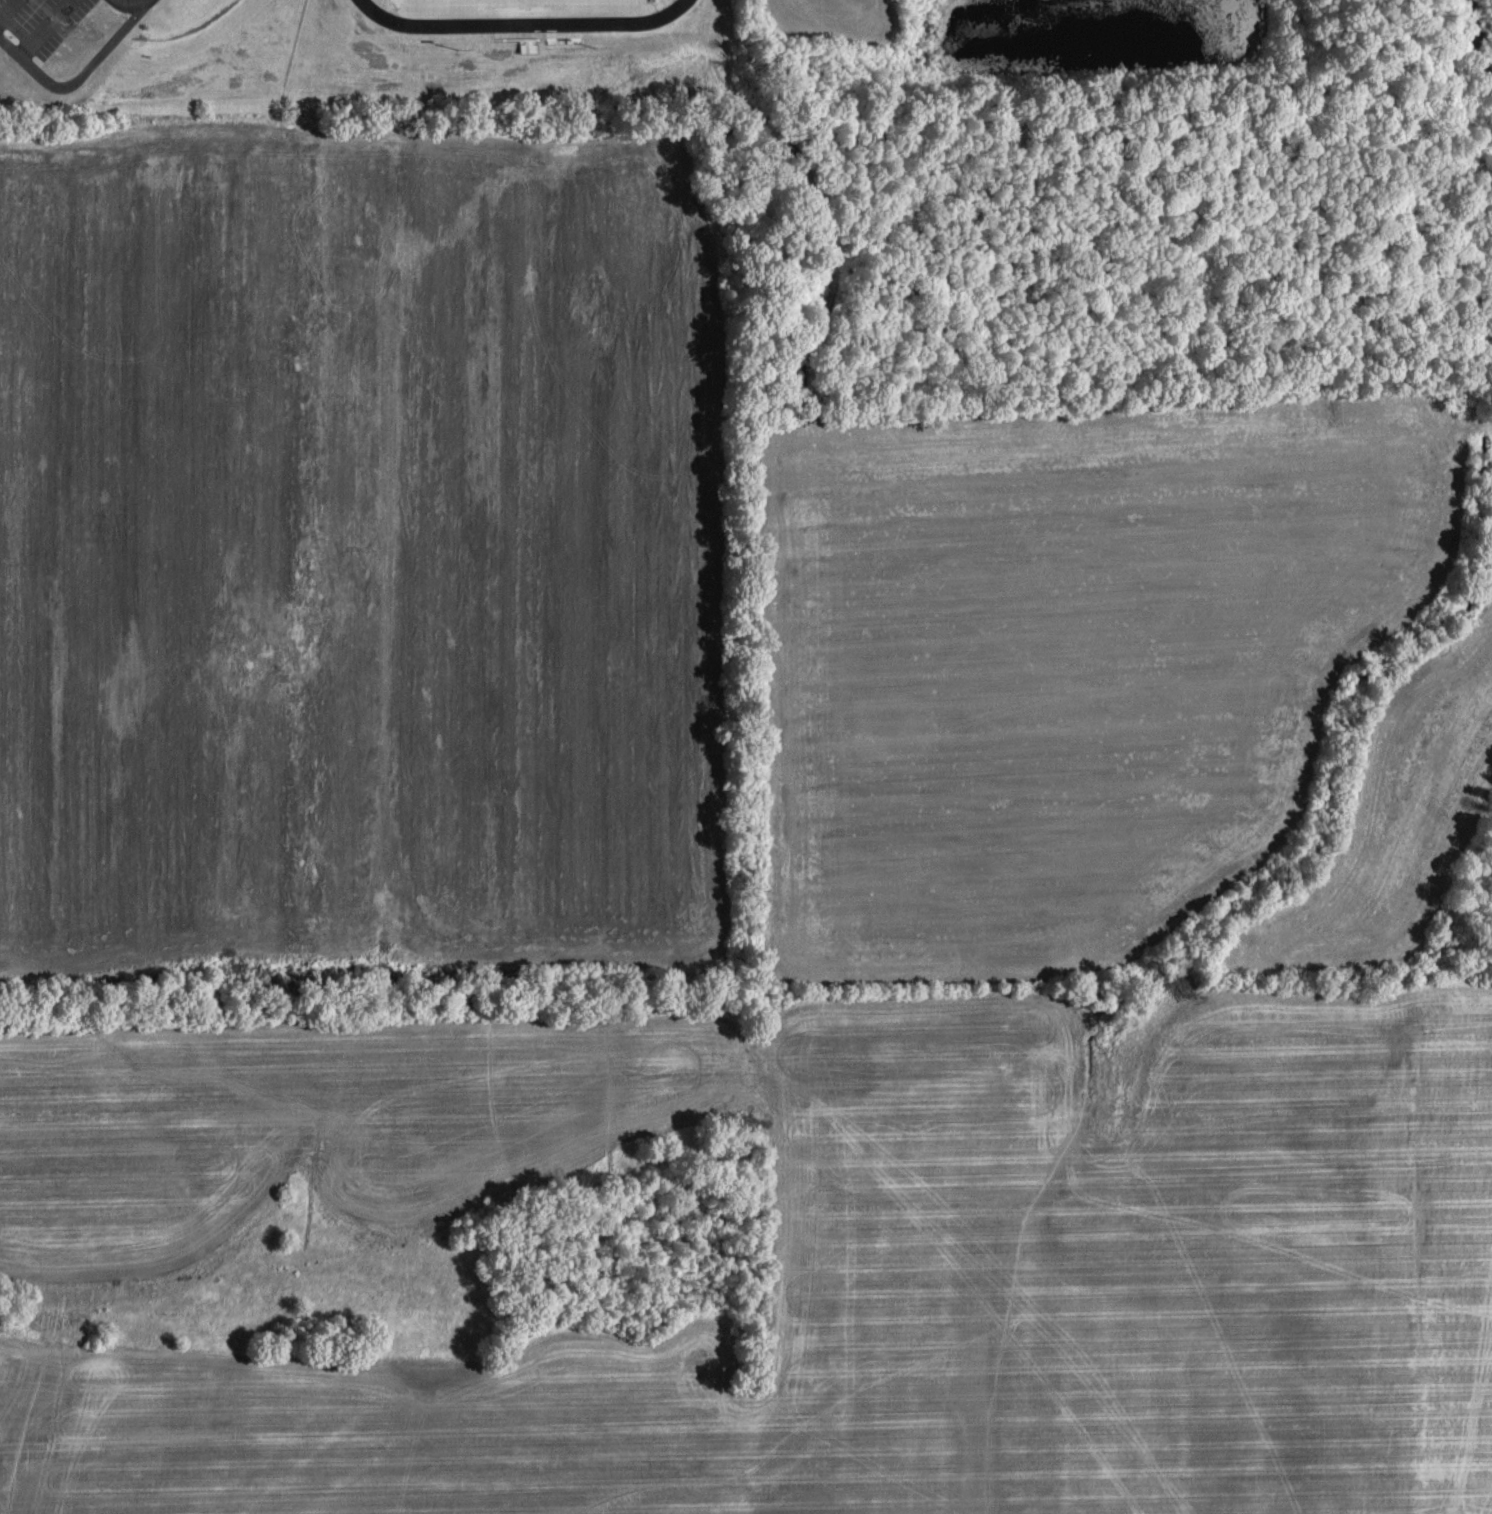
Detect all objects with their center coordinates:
road: (133, 0)
park: (520, 4)
track: (531, 15)

